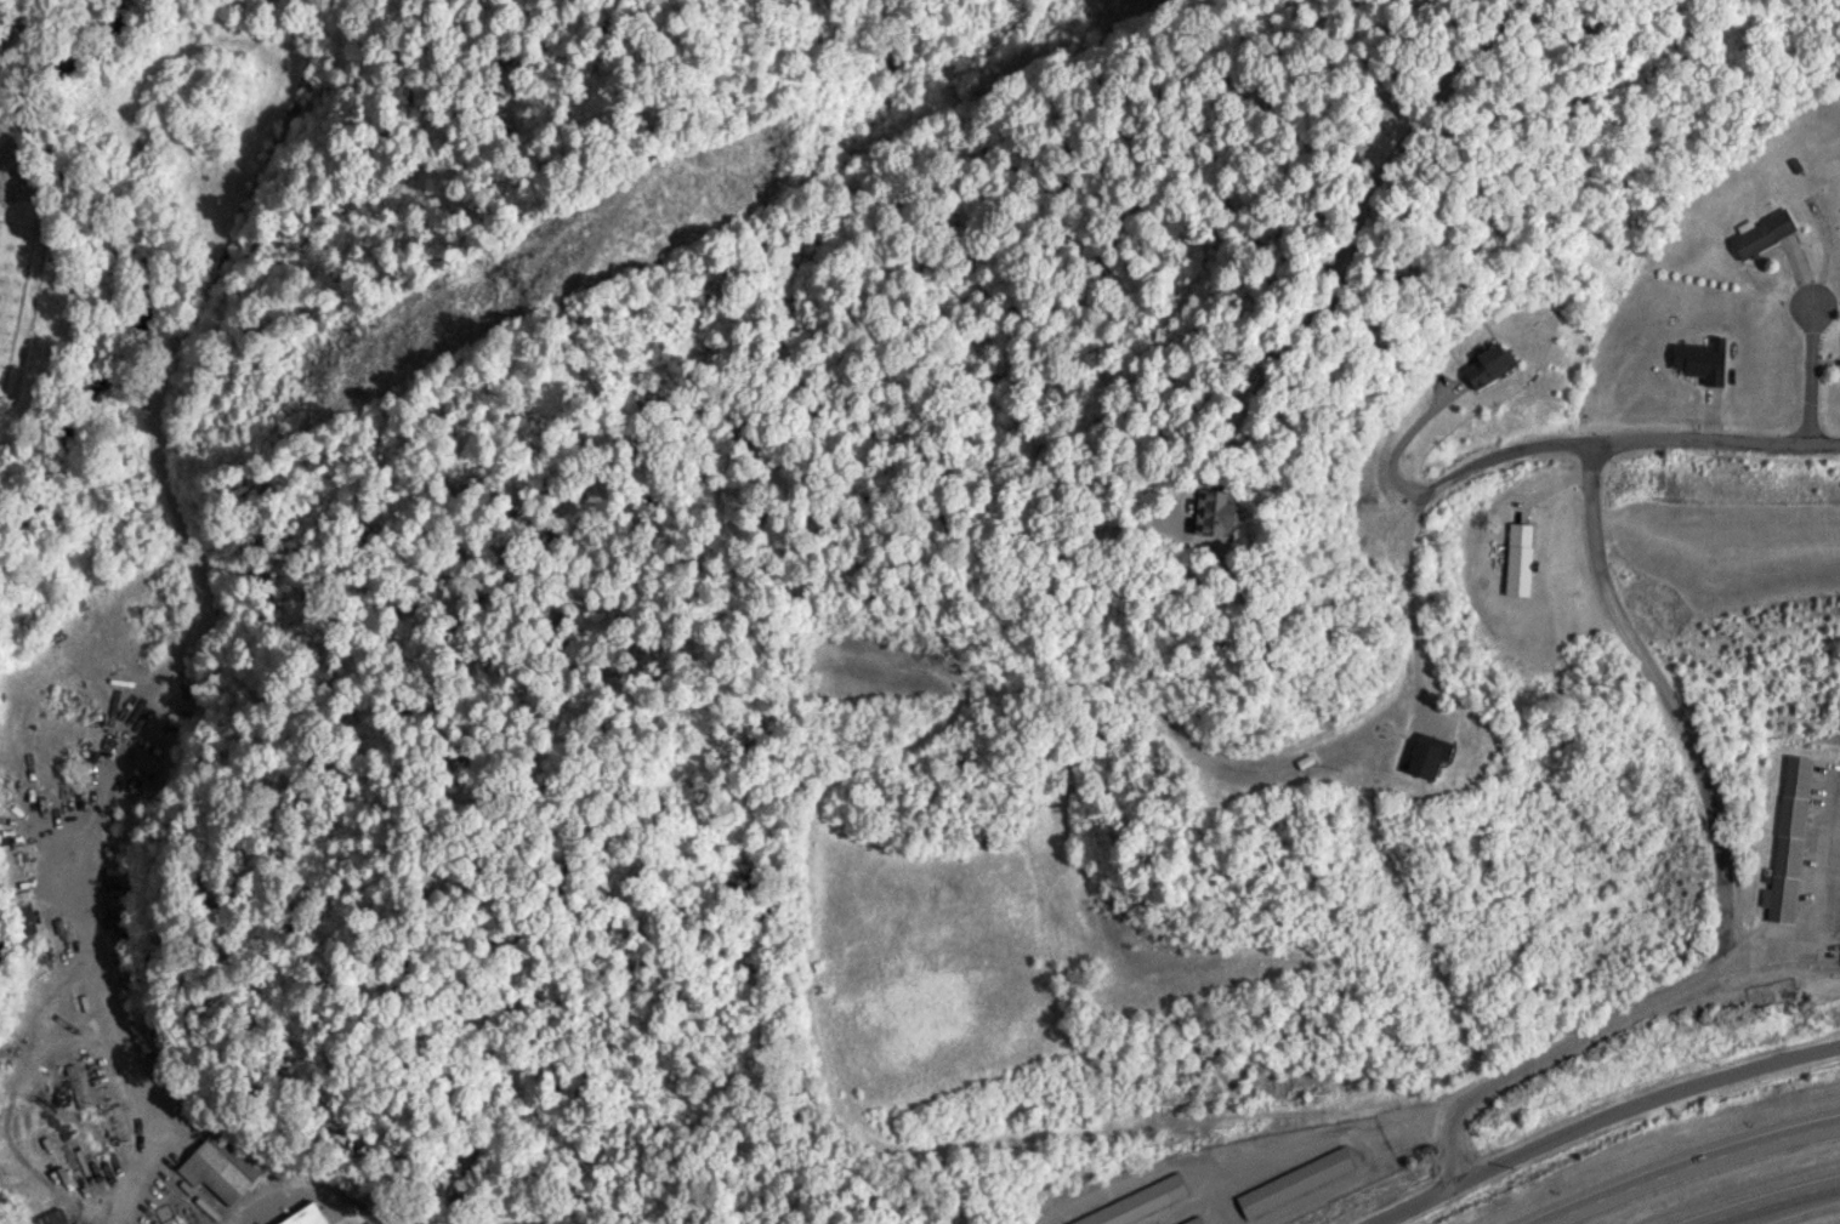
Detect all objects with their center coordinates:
building: (1759, 233)
power tower: (526, 278)
building: (1698, 359)
building: (1482, 364)
road: (1808, 369)
road: (1714, 437)
road: (1506, 450)
building: (1189, 511)
building: (1514, 558)
road: (1669, 695)
building: (1418, 757)
building: (1788, 838)
road: (1816, 900)
road: (86, 912)
building: (19, 918)
building: (1839, 962)
road: (1551, 1048)
road: (1600, 1115)
building: (218, 1167)
road: (1694, 1168)
building: (1289, 1182)
road: (1782, 1200)
building: (1131, 1203)
building: (307, 1216)
building: (51, 1217)
building: (1192, 1222)

